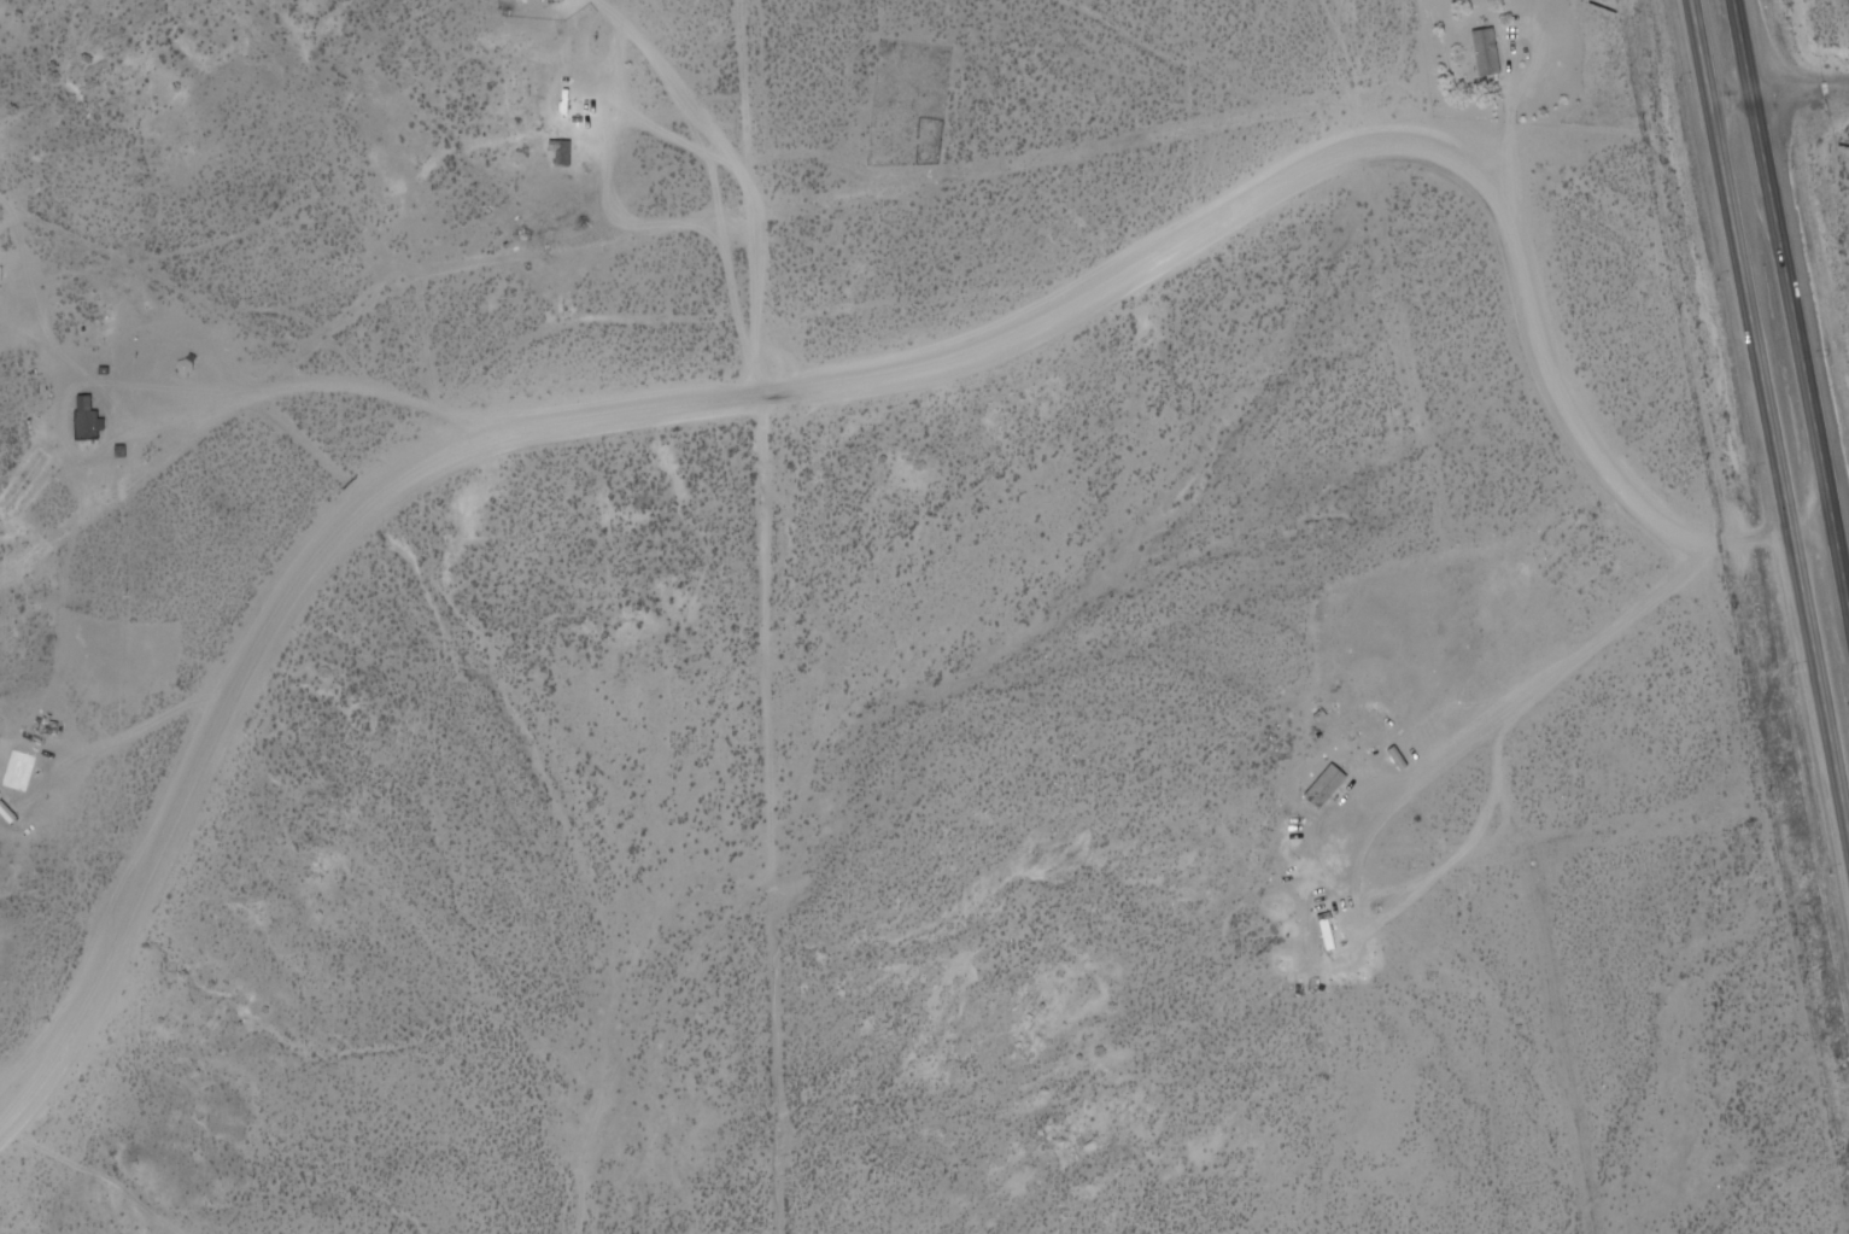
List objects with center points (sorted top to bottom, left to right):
building: (1488, 48)
road: (1440, 90)
road: (1778, 104)
road: (897, 258)
road: (1792, 276)
road: (865, 359)
road: (1763, 419)
building: (86, 423)
road: (1593, 660)
building: (1327, 785)

